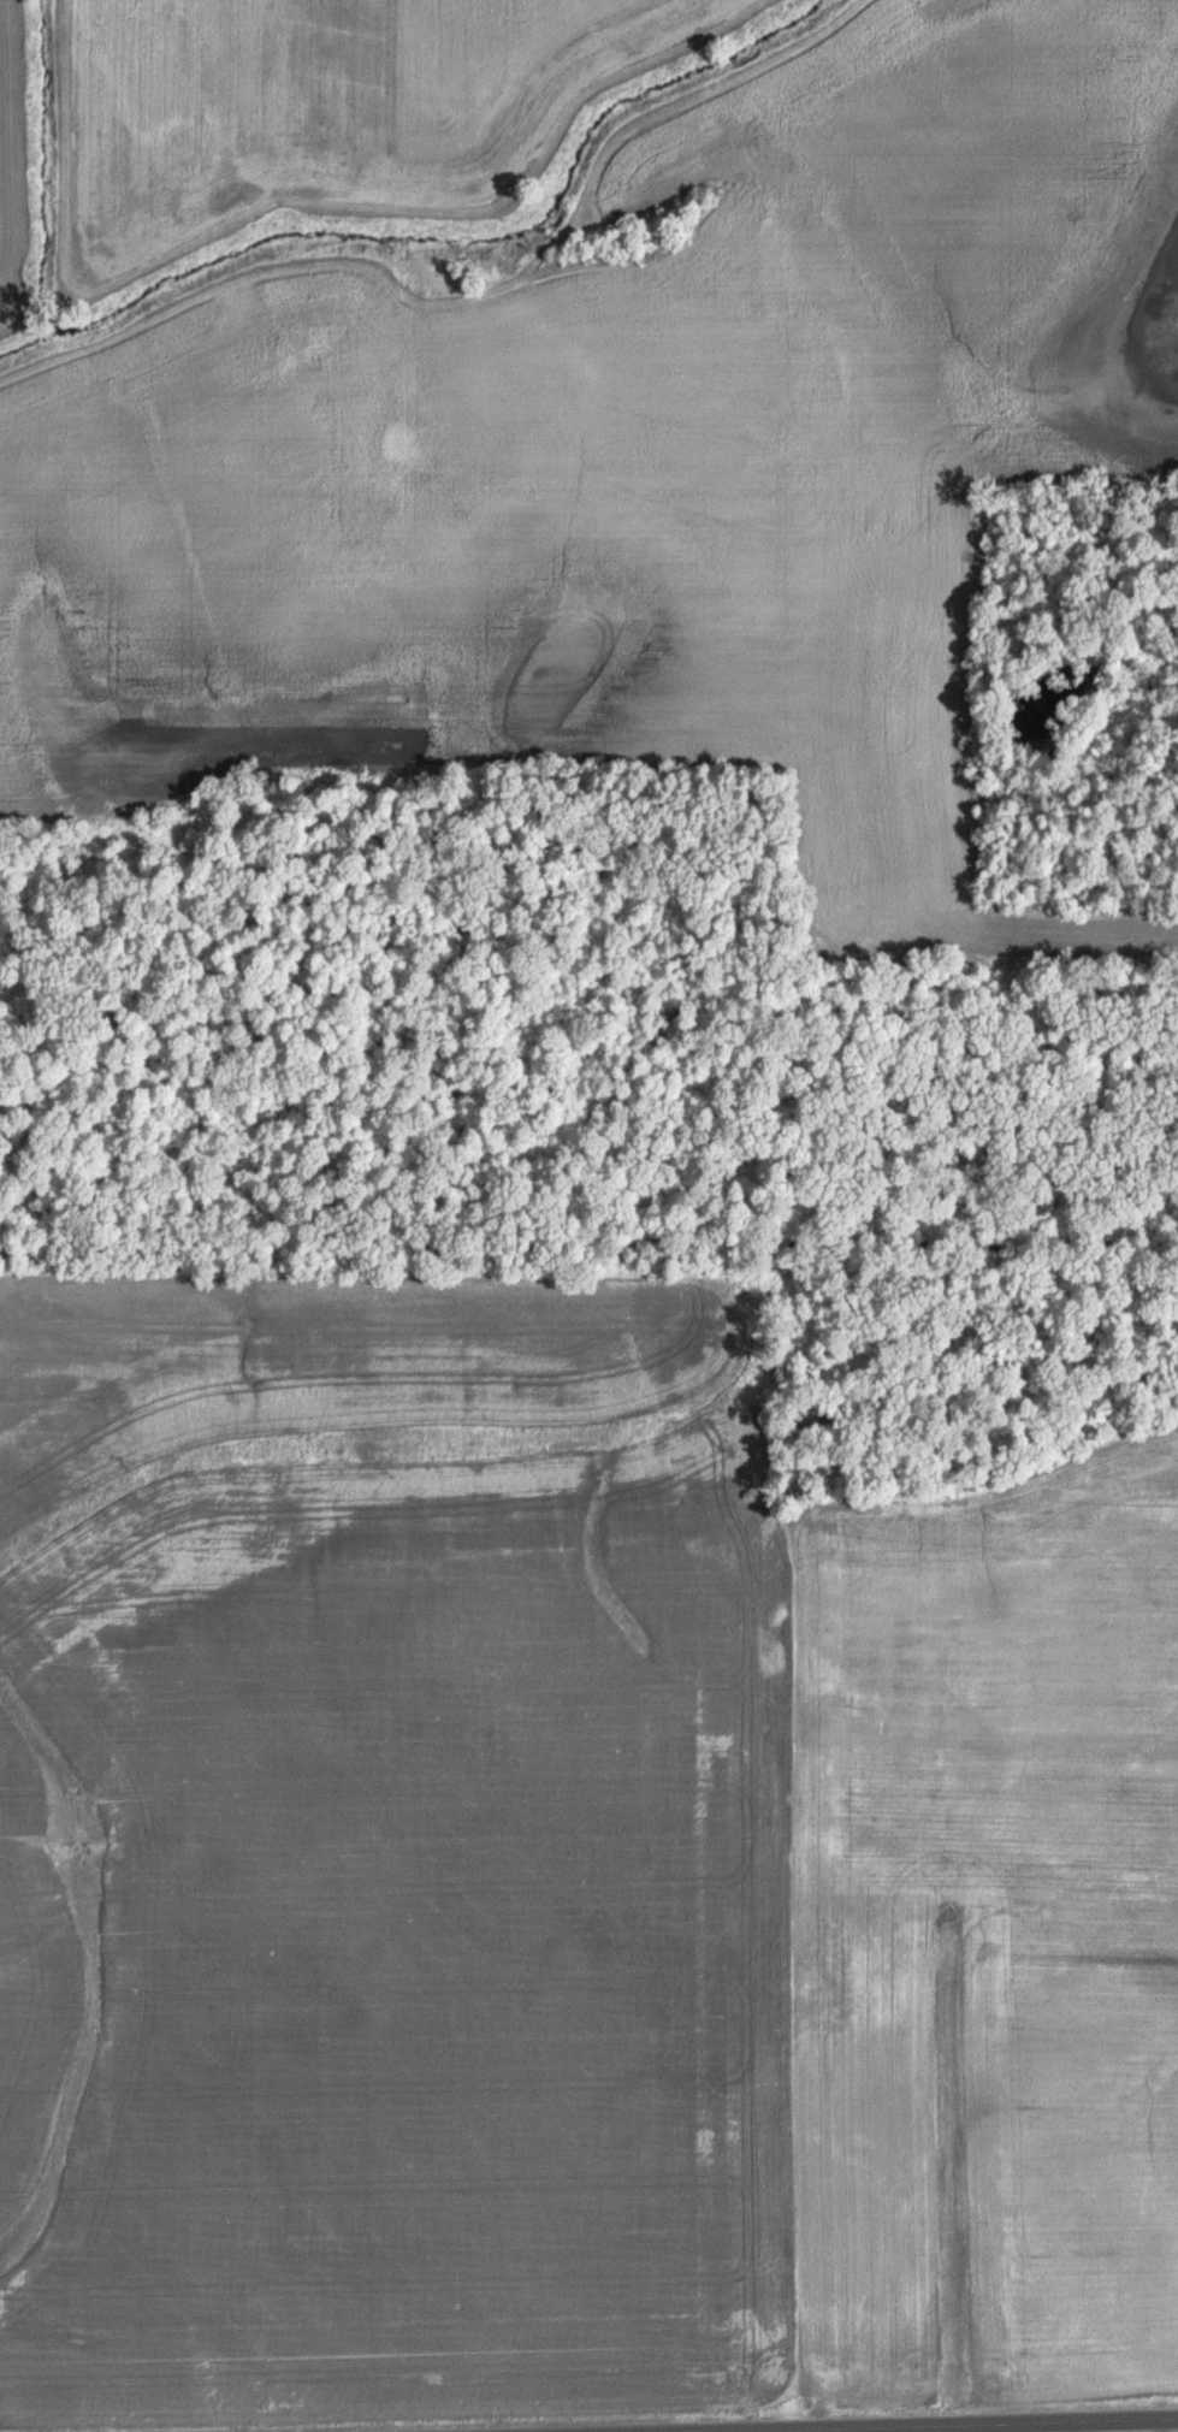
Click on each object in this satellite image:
crop: (416, 1946)
road: (1064, 2428)
road: (1162, 2428)
road: (1079, 2430)

